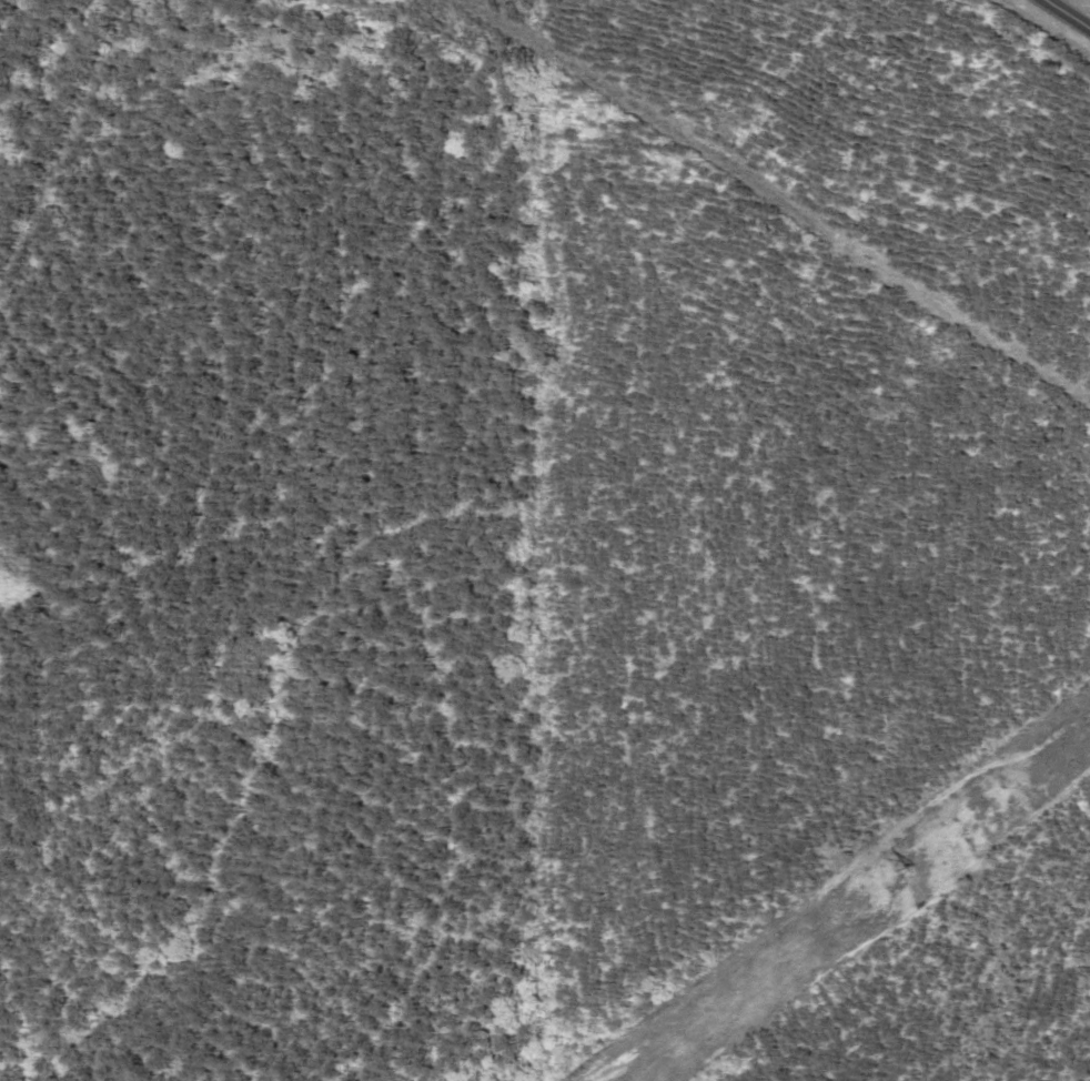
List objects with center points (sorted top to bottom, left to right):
road: (1064, 17)
power tower: (912, 866)

